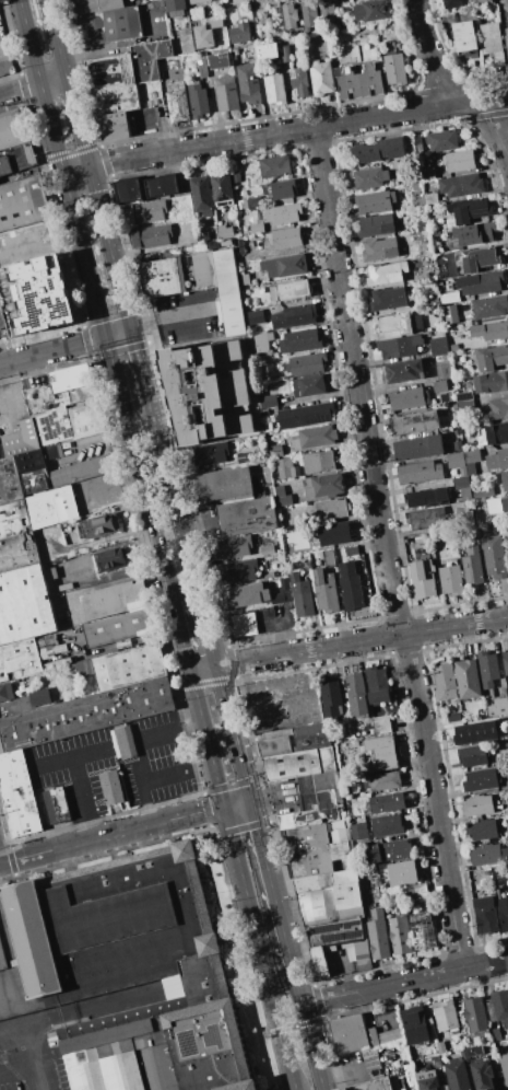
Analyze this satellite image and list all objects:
building: (198, 1)
building: (482, 1)
building: (454, 3)
building: (94, 5)
building: (176, 7)
building: (370, 11)
building: (308, 12)
building: (327, 12)
building: (290, 15)
building: (108, 25)
building: (240, 33)
building: (203, 36)
road: (58, 37)
building: (464, 37)
building: (506, 38)
road: (29, 42)
building: (492, 43)
building: (267, 53)
building: (285, 54)
building: (220, 61)
building: (128, 65)
building: (201, 67)
building: (393, 68)
building: (321, 78)
road: (54, 80)
building: (299, 81)
building: (357, 81)
building: (247, 83)
road: (448, 86)
building: (274, 89)
road: (20, 90)
building: (226, 93)
building: (115, 97)
building: (198, 100)
building: (177, 102)
road: (79, 119)
building: (113, 125)
building: (13, 128)
road: (51, 128)
road: (298, 129)
building: (441, 141)
building: (378, 150)
building: (16, 158)
building: (459, 161)
building: (398, 164)
building: (274, 166)
road: (76, 167)
building: (426, 174)
building: (369, 178)
building: (416, 186)
building: (461, 186)
building: (163, 187)
building: (222, 189)
building: (283, 189)
building: (129, 192)
building: (201, 195)
building: (430, 199)
building: (23, 202)
building: (253, 202)
building: (376, 202)
building: (243, 205)
building: (469, 210)
building: (152, 212)
building: (283, 213)
building: (376, 225)
building: (421, 227)
building: (258, 228)
building: (224, 232)
building: (475, 234)
building: (151, 236)
building: (203, 237)
building: (287, 239)
road: (110, 247)
building: (380, 250)
road: (84, 254)
building: (477, 259)
building: (285, 266)
building: (386, 274)
building: (179, 275)
building: (245, 279)
building: (480, 283)
building: (290, 290)
building: (228, 292)
building: (430, 298)
building: (449, 298)
building: (387, 299)
building: (489, 306)
building: (449, 313)
building: (293, 316)
building: (256, 317)
road: (170, 318)
building: (399, 323)
traffic signals: (132, 331)
building: (491, 331)
road: (118, 334)
traffic signals: (105, 338)
building: (300, 341)
building: (261, 343)
building: (399, 347)
building: (438, 347)
building: (452, 347)
road: (52, 351)
road: (1, 357)
building: (491, 358)
building: (305, 364)
road: (141, 366)
building: (442, 370)
building: (405, 371)
building: (73, 378)
road: (356, 380)
road: (238, 381)
road: (16, 382)
building: (491, 382)
building: (200, 384)
building: (309, 385)
building: (439, 386)
building: (82, 394)
building: (463, 396)
building: (407, 398)
building: (268, 402)
building: (497, 409)
building: (305, 415)
building: (416, 422)
building: (68, 424)
building: (464, 432)
building: (494, 434)
building: (314, 438)
building: (21, 440)
road: (101, 440)
building: (457, 447)
building: (417, 448)
building: (275, 451)
building: (51, 452)
building: (210, 454)
building: (456, 460)
building: (497, 460)
building: (471, 461)
building: (318, 462)
building: (286, 467)
road: (138, 471)
building: (418, 472)
building: (81, 473)
building: (462, 473)
building: (23, 477)
building: (503, 479)
building: (460, 483)
road: (111, 485)
building: (222, 486)
building: (324, 486)
building: (279, 490)
building: (482, 492)
building: (465, 495)
building: (426, 498)
building: (284, 500)
building: (497, 506)
building: (51, 508)
building: (331, 509)
building: (246, 517)
building: (464, 518)
building: (13, 519)
building: (426, 519)
building: (102, 524)
road: (184, 533)
building: (334, 533)
building: (233, 547)
building: (267, 550)
building: (351, 550)
building: (507, 550)
building: (17, 552)
building: (494, 556)
building: (329, 558)
building: (107, 559)
building: (472, 566)
building: (340, 567)
building: (238, 570)
building: (423, 579)
building: (451, 579)
building: (284, 584)
building: (326, 591)
building: (352, 592)
building: (243, 595)
building: (302, 595)
building: (115, 599)
building: (25, 604)
building: (269, 612)
building: (244, 624)
road: (456, 625)
building: (118, 629)
road: (180, 637)
road: (309, 649)
building: (19, 659)
building: (506, 665)
building: (128, 668)
building: (81, 669)
road: (202, 669)
building: (488, 669)
building: (468, 680)
building: (445, 681)
building: (378, 685)
building: (5, 692)
building: (38, 697)
building: (357, 698)
building: (330, 699)
building: (498, 707)
building: (85, 715)
building: (453, 718)
building: (381, 724)
building: (475, 732)
road: (156, 733)
road: (233, 733)
building: (311, 737)
road: (206, 739)
building: (122, 744)
building: (274, 745)
building: (381, 753)
building: (473, 755)
road: (68, 758)
road: (142, 761)
parking lot: (156, 762)
building: (298, 764)
road: (164, 778)
building: (481, 780)
building: (383, 781)
building: (110, 788)
building: (17, 797)
road: (83, 798)
traffic signals: (250, 800)
building: (316, 801)
road: (434, 801)
building: (54, 802)
road: (237, 803)
building: (387, 803)
road: (146, 804)
building: (477, 805)
traffic signals: (225, 807)
road: (187, 814)
building: (387, 825)
building: (482, 828)
building: (359, 831)
building: (338, 835)
building: (306, 838)
road: (74, 844)
building: (340, 849)
building: (391, 850)
building: (487, 854)
building: (310, 862)
building: (402, 872)
road: (271, 882)
building: (416, 891)
building: (329, 897)
building: (503, 913)
building: (485, 915)
road: (253, 917)
building: (422, 930)
building: (378, 935)
building: (400, 935)
building: (340, 943)
road: (484, 964)
building: (126, 972)
road: (297, 984)
road: (381, 986)
building: (500, 1006)
road: (90, 1008)
building: (445, 1016)
building: (475, 1017)
building: (414, 1024)
road: (294, 1027)
building: (357, 1034)
building: (496, 1034)
road: (312, 1046)
building: (440, 1047)
road: (24, 1050)
building: (474, 1051)
building: (368, 1052)
building: (413, 1053)
road: (288, 1059)
parking lot: (33, 1063)
building: (504, 1067)
road: (14, 1070)
building: (458, 1072)
building: (483, 1076)
building: (427, 1080)
building: (370, 1085)

